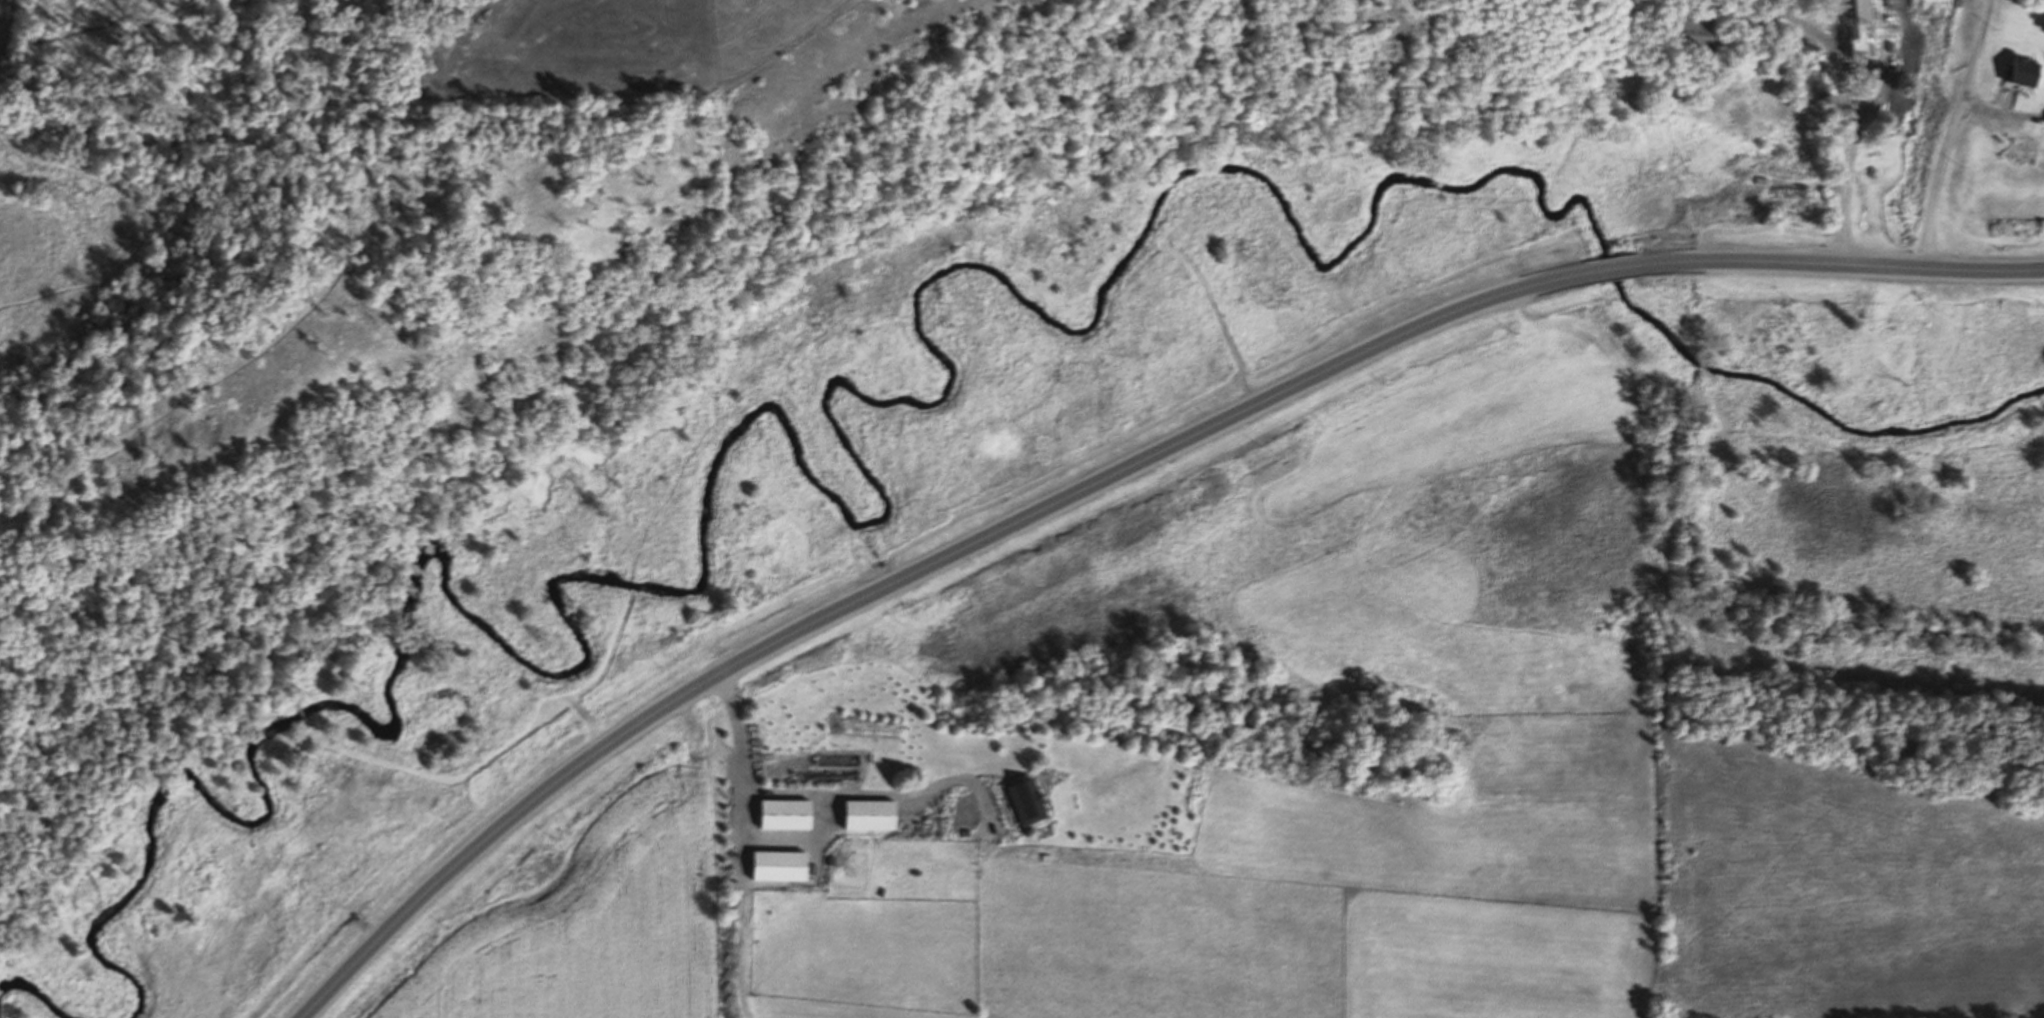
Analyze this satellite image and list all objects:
building: (1863, 28)
building: (1688, 32)
building: (1899, 43)
building: (1777, 62)
building: (2021, 69)
road: (1844, 113)
road: (1952, 134)
building: (2023, 139)
road: (1839, 265)
road: (1613, 270)
building: (144, 405)
road: (906, 577)
road: (303, 714)
road: (828, 796)
building: (1024, 803)
building: (786, 816)
building: (870, 816)
road: (785, 845)
building: (781, 868)

